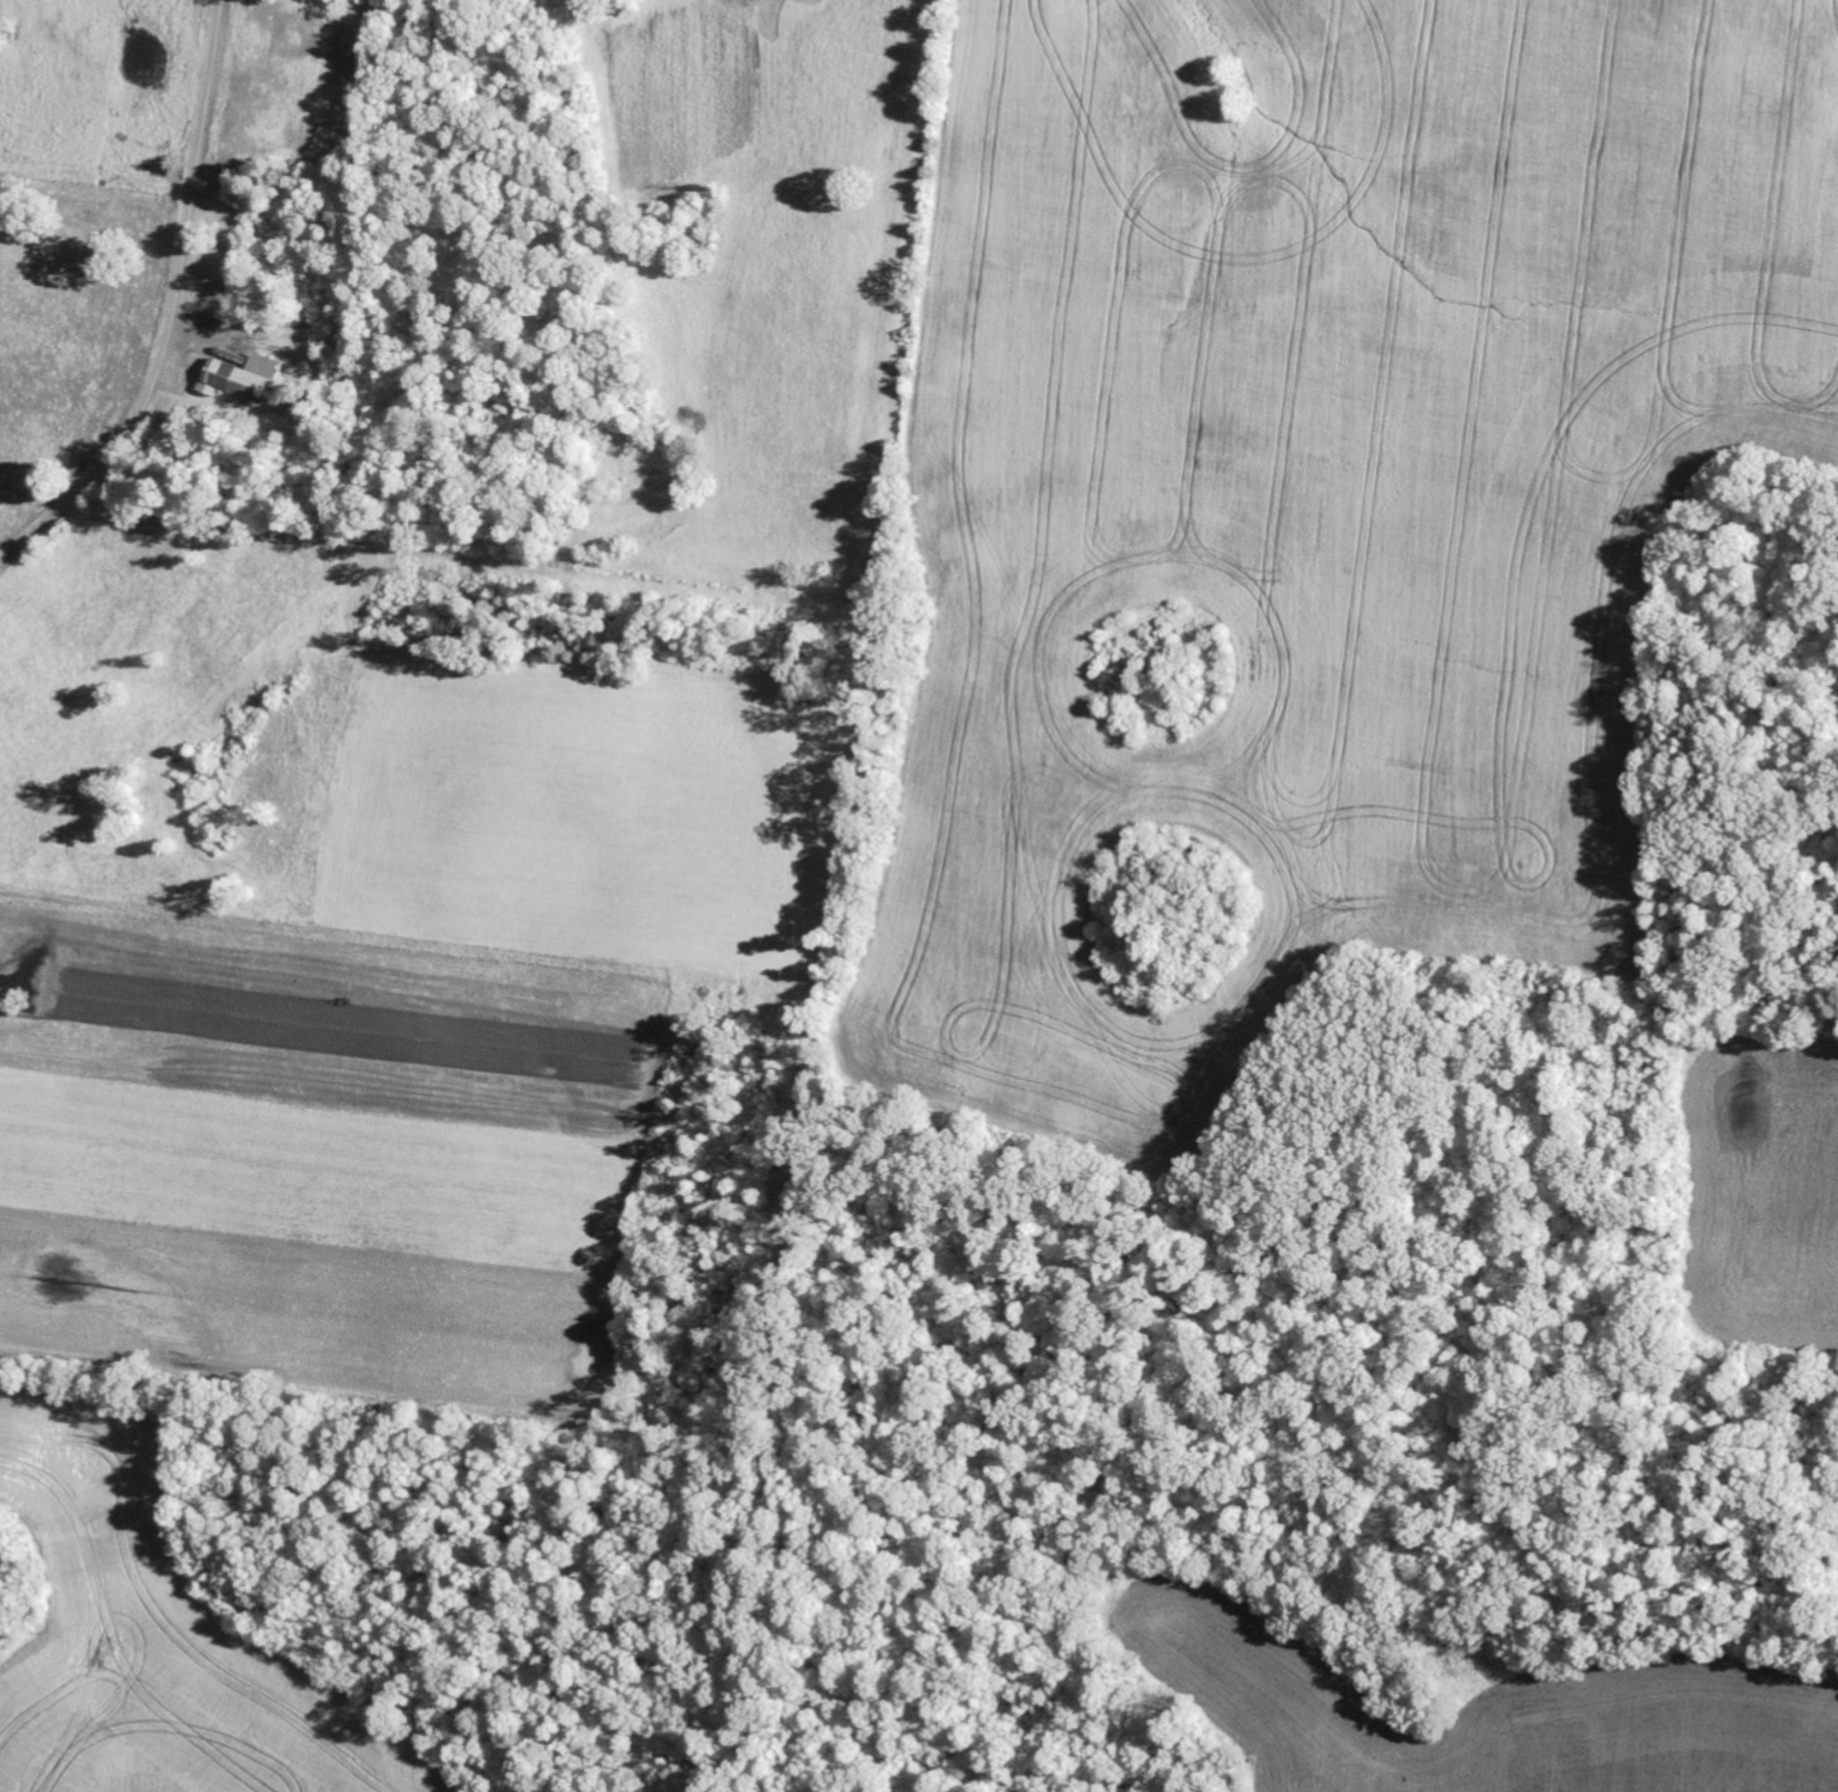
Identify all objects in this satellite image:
road: (169, 307)
building: (242, 379)
road: (1316, 986)
road: (903, 1526)

